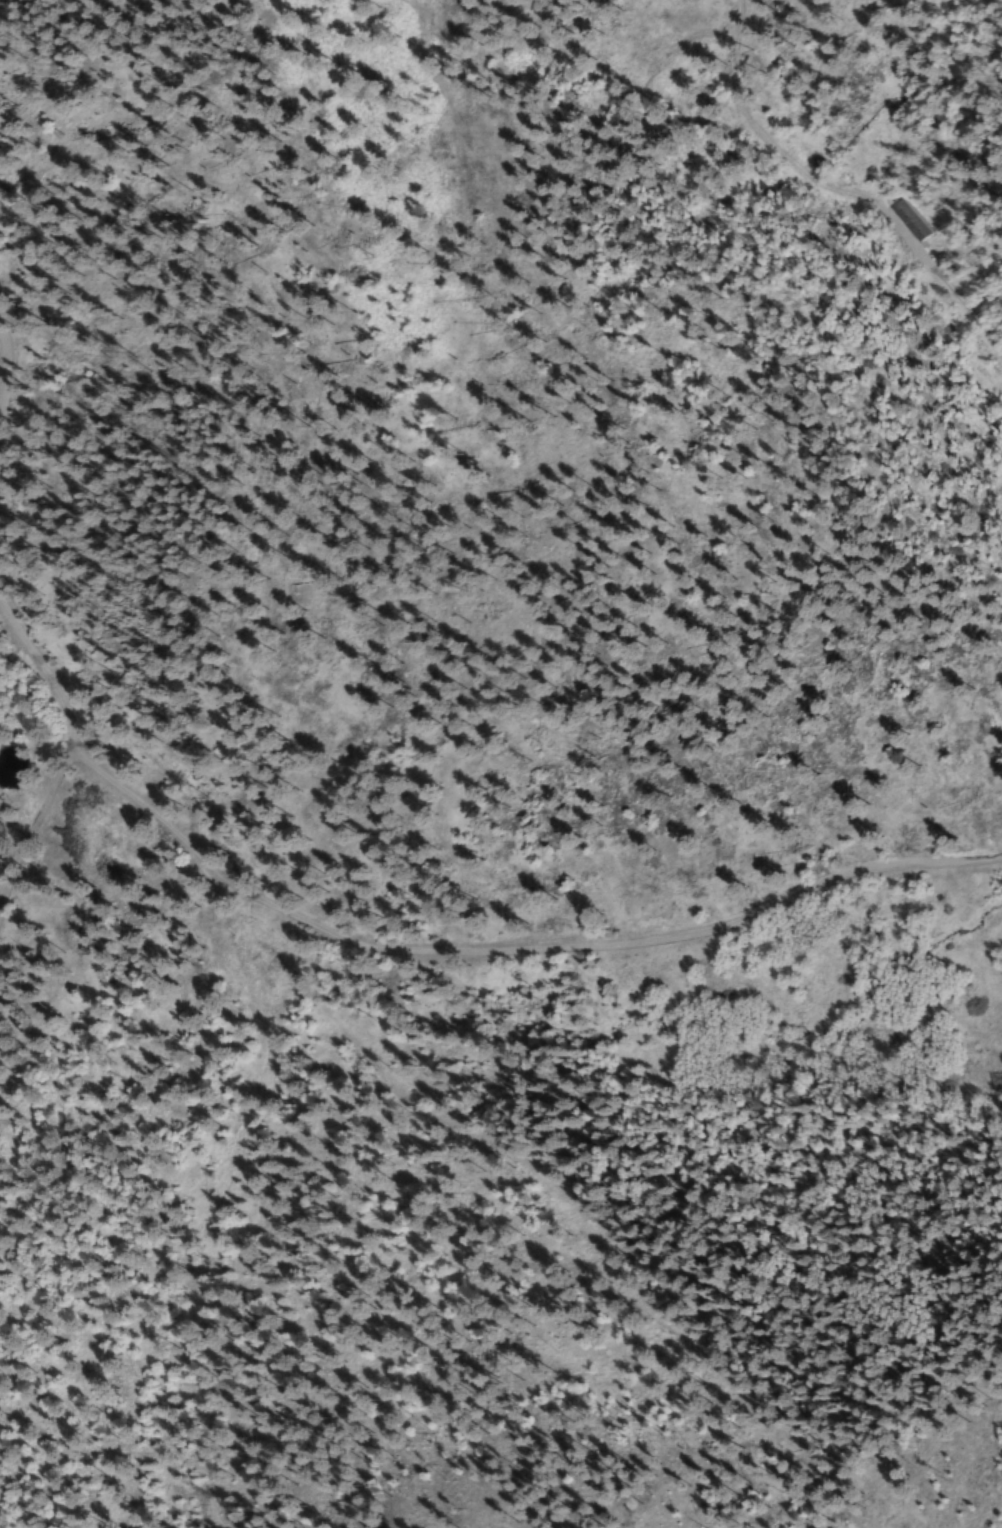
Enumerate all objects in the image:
road: (825, 194)
building: (904, 220)
road: (38, 677)
road: (37, 830)
road: (515, 938)

